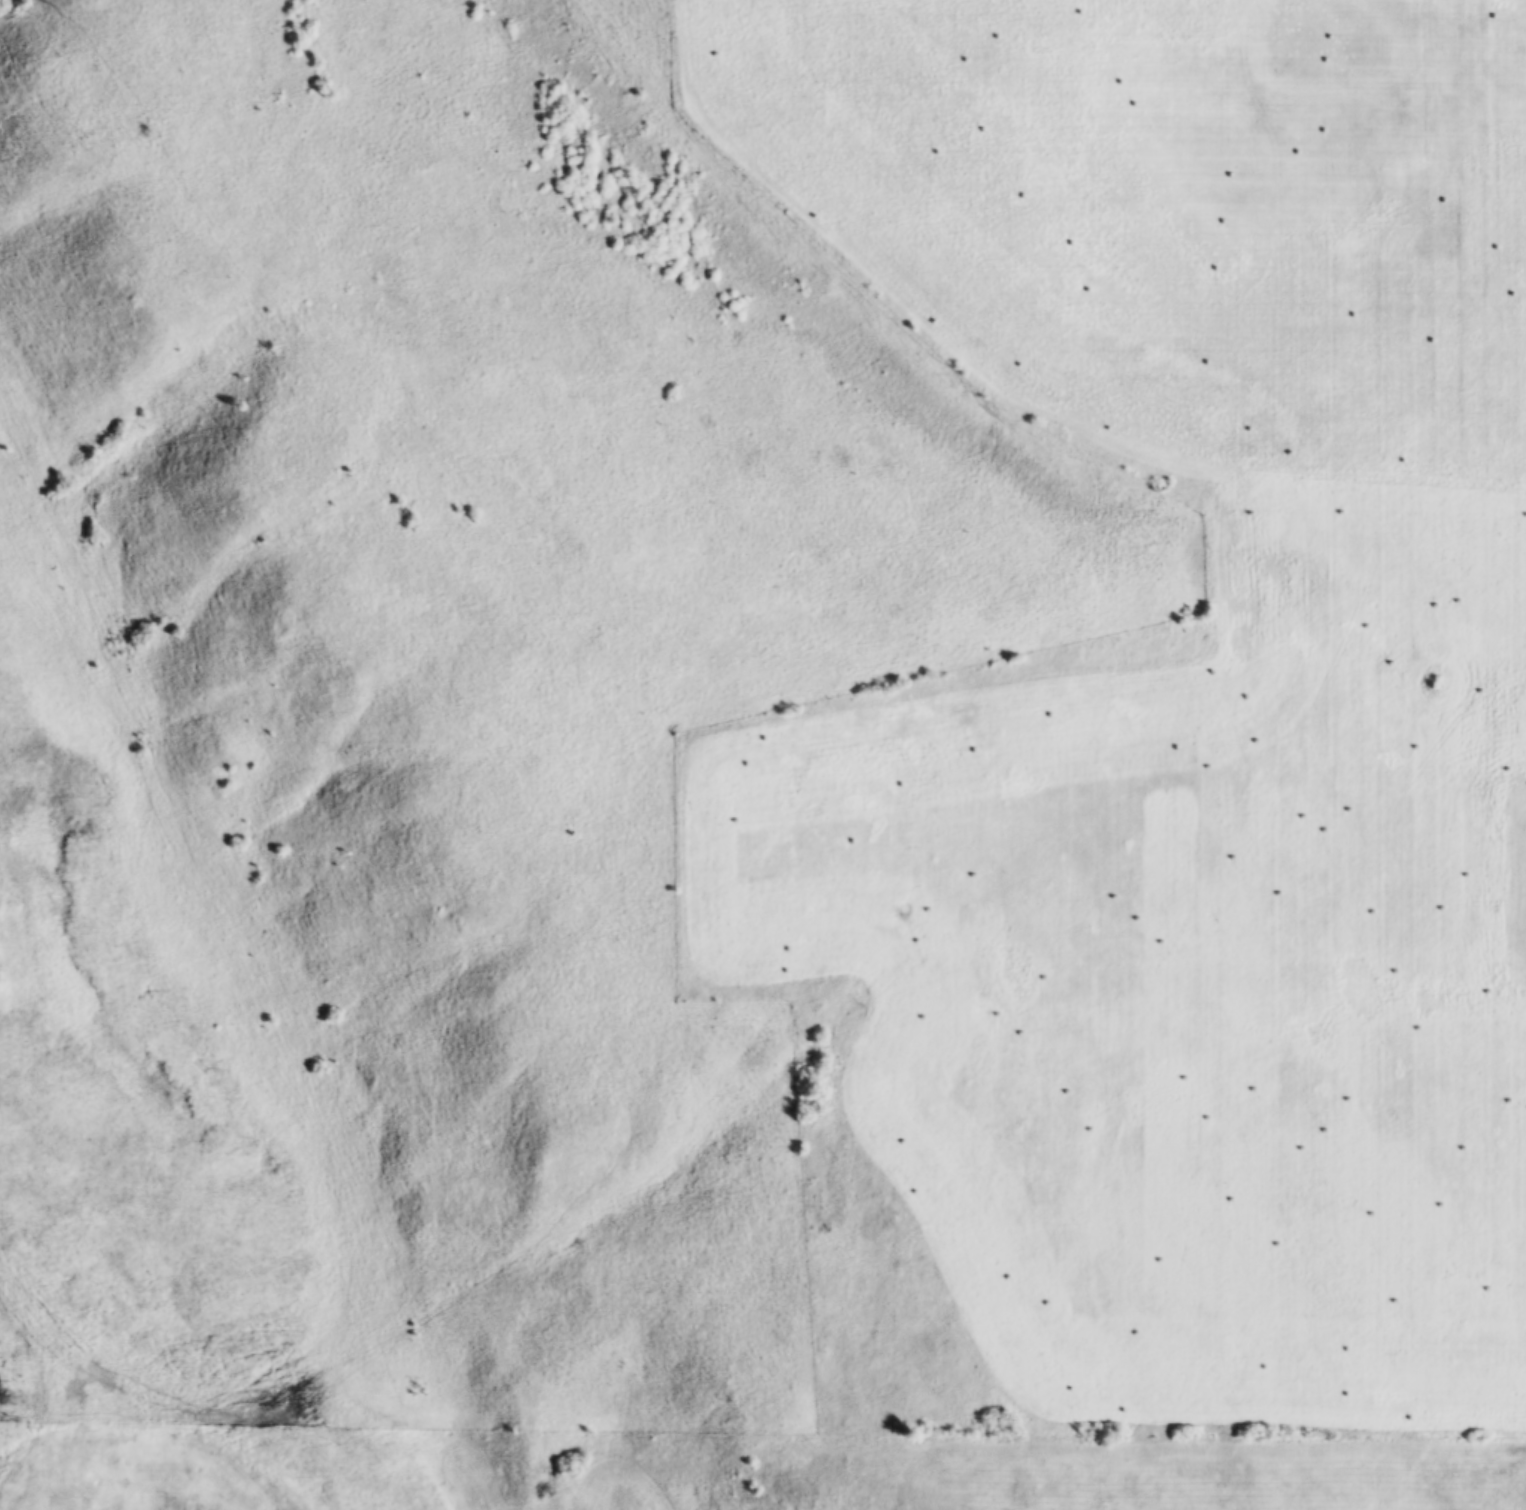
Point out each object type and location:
road: (1015, 385)

